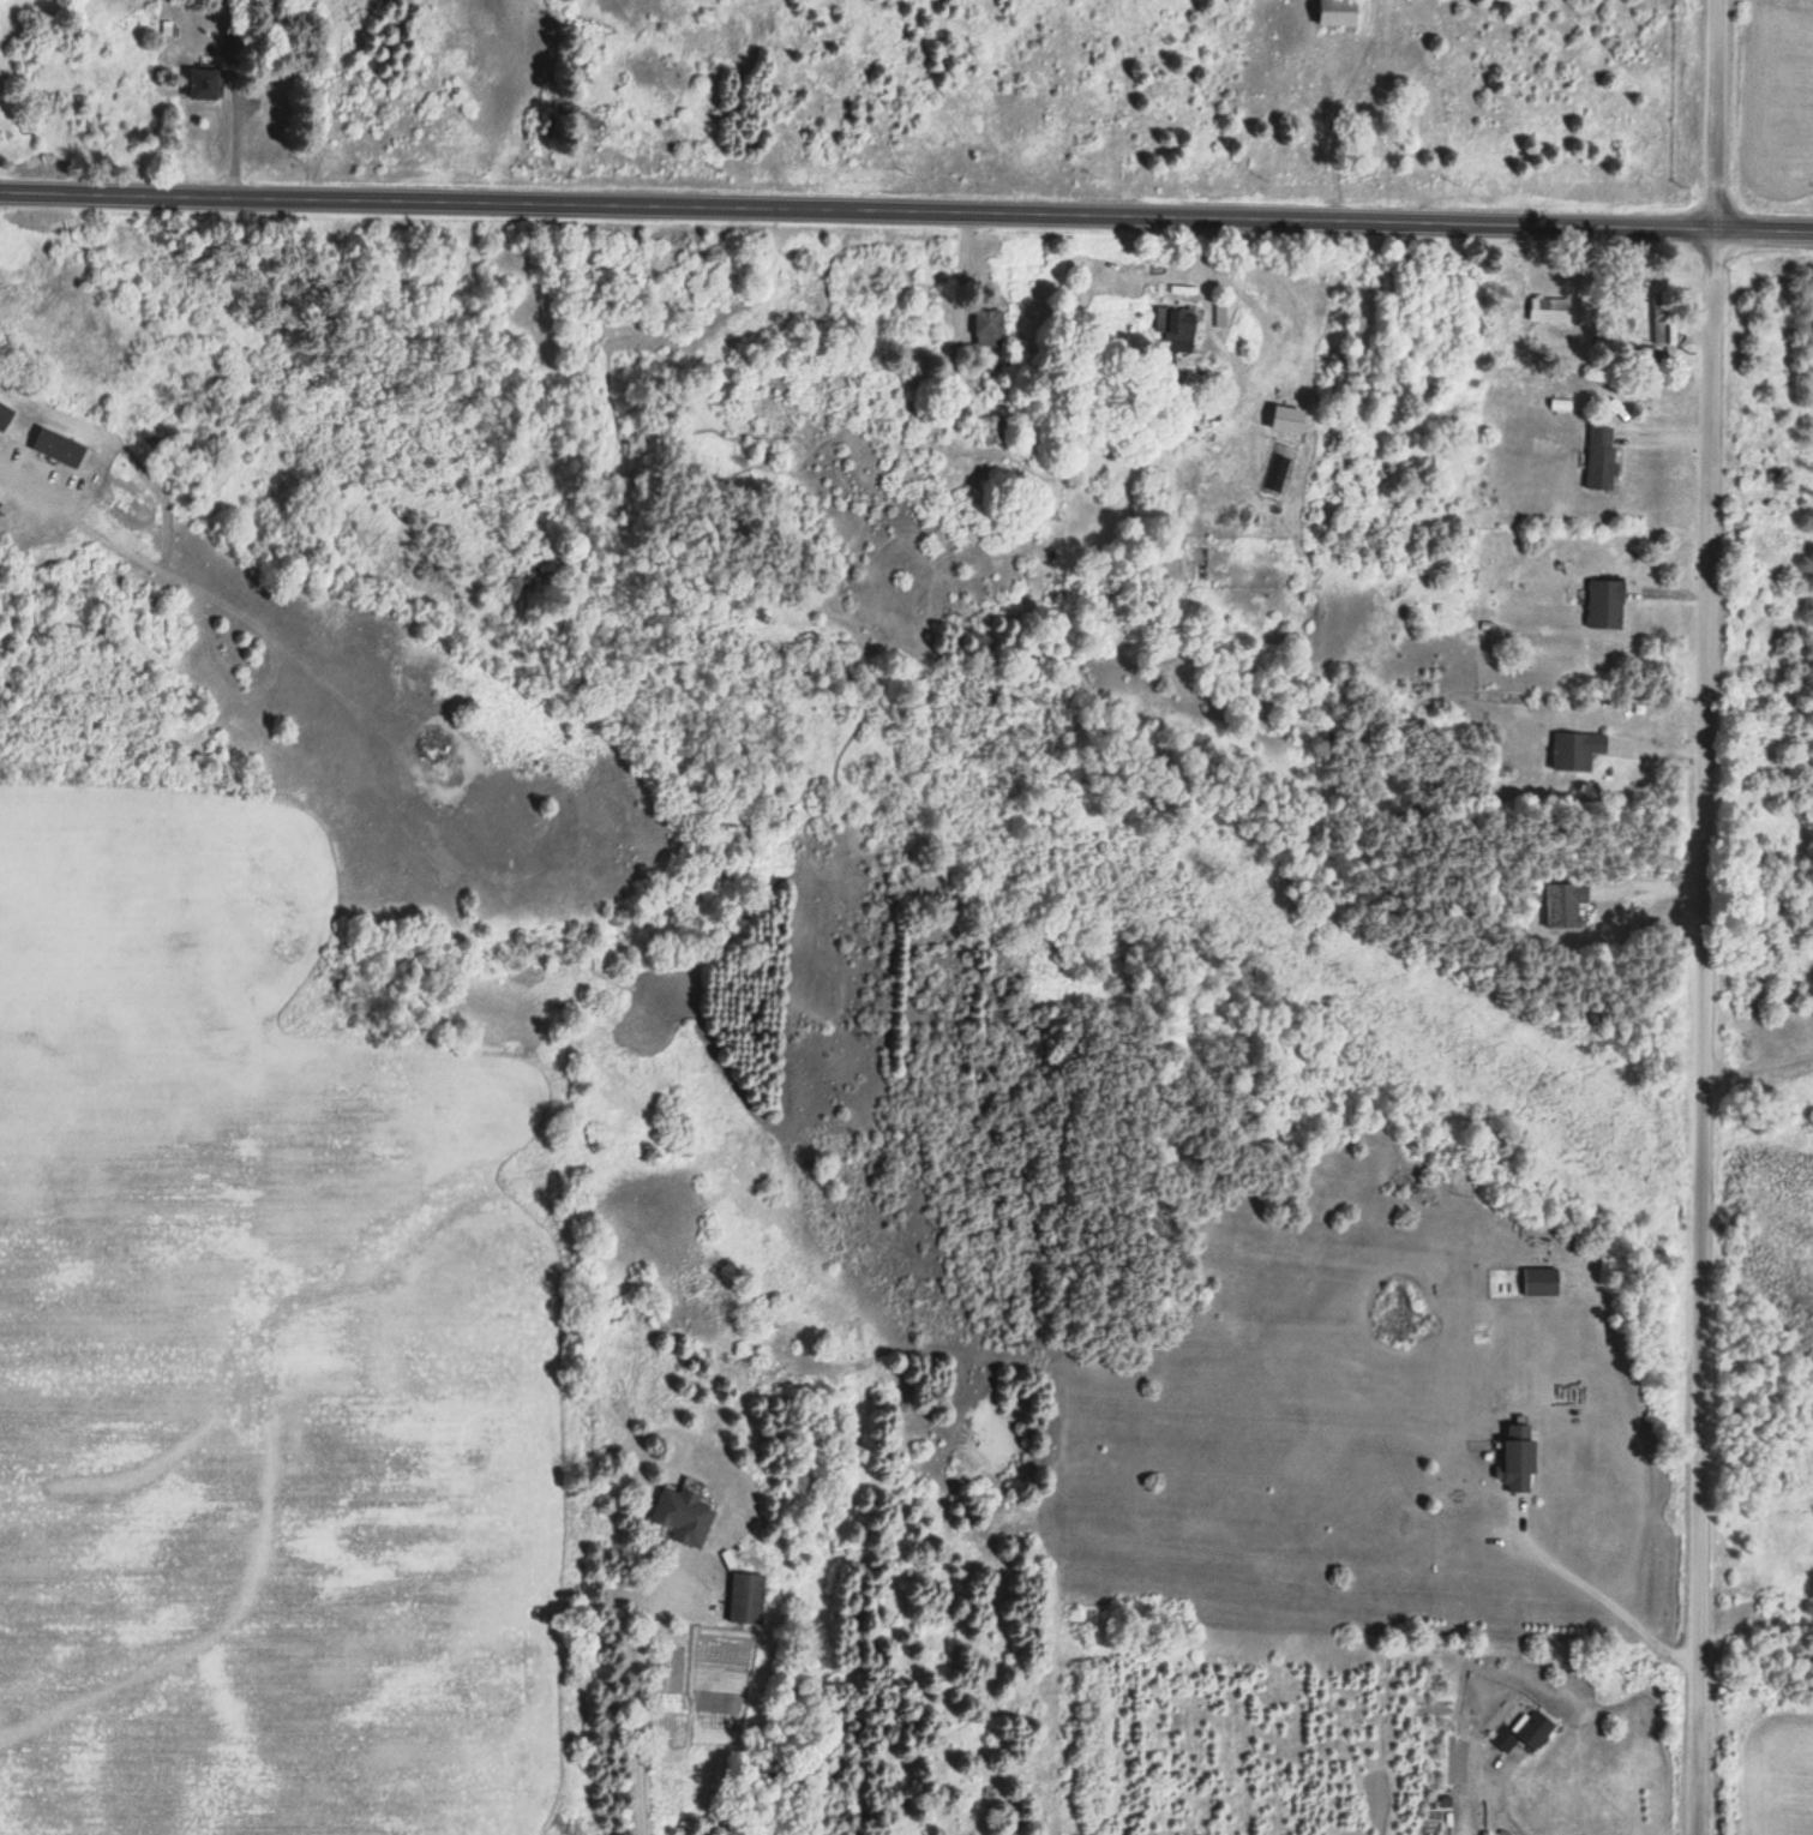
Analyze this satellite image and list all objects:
building: (1338, 18)
building: (204, 85)
road: (906, 211)
building: (1549, 312)
building: (1658, 319)
building: (986, 329)
building: (1175, 330)
building: (5, 416)
building: (992, 431)
building: (58, 448)
building: (1601, 458)
building: (1, 496)
building: (1604, 606)
building: (1575, 752)
building: (1563, 908)
road: (1695, 917)
building: (1539, 1284)
building: (1519, 1461)
building: (683, 1516)
building: (745, 1600)
building: (1525, 1734)

